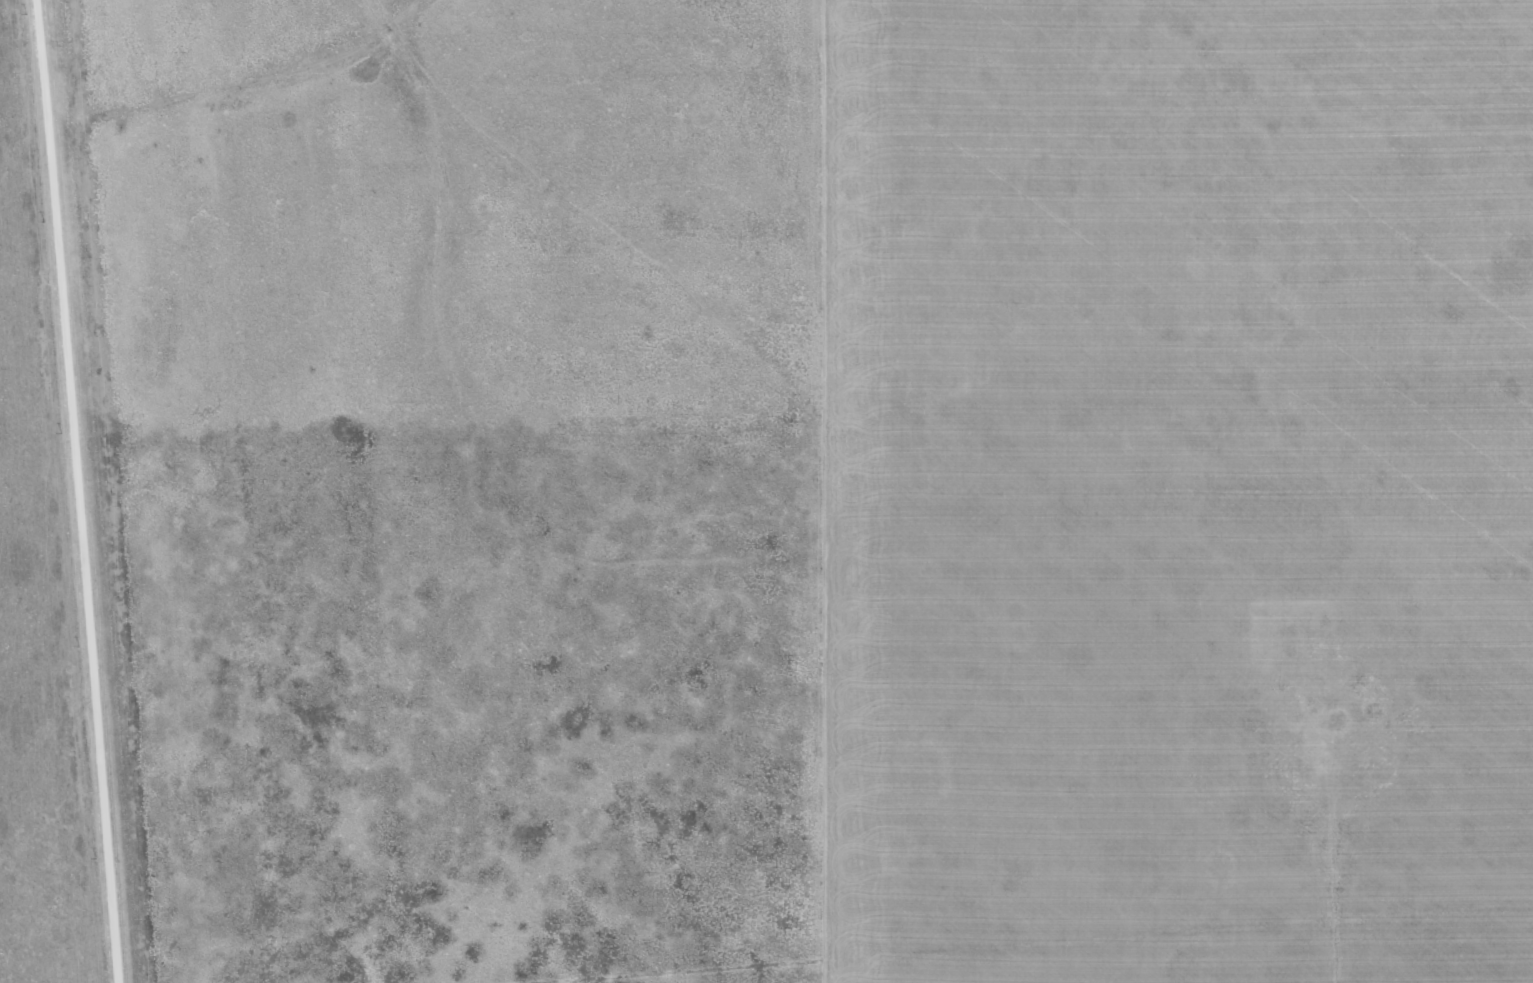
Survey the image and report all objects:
road: (52, 492)

